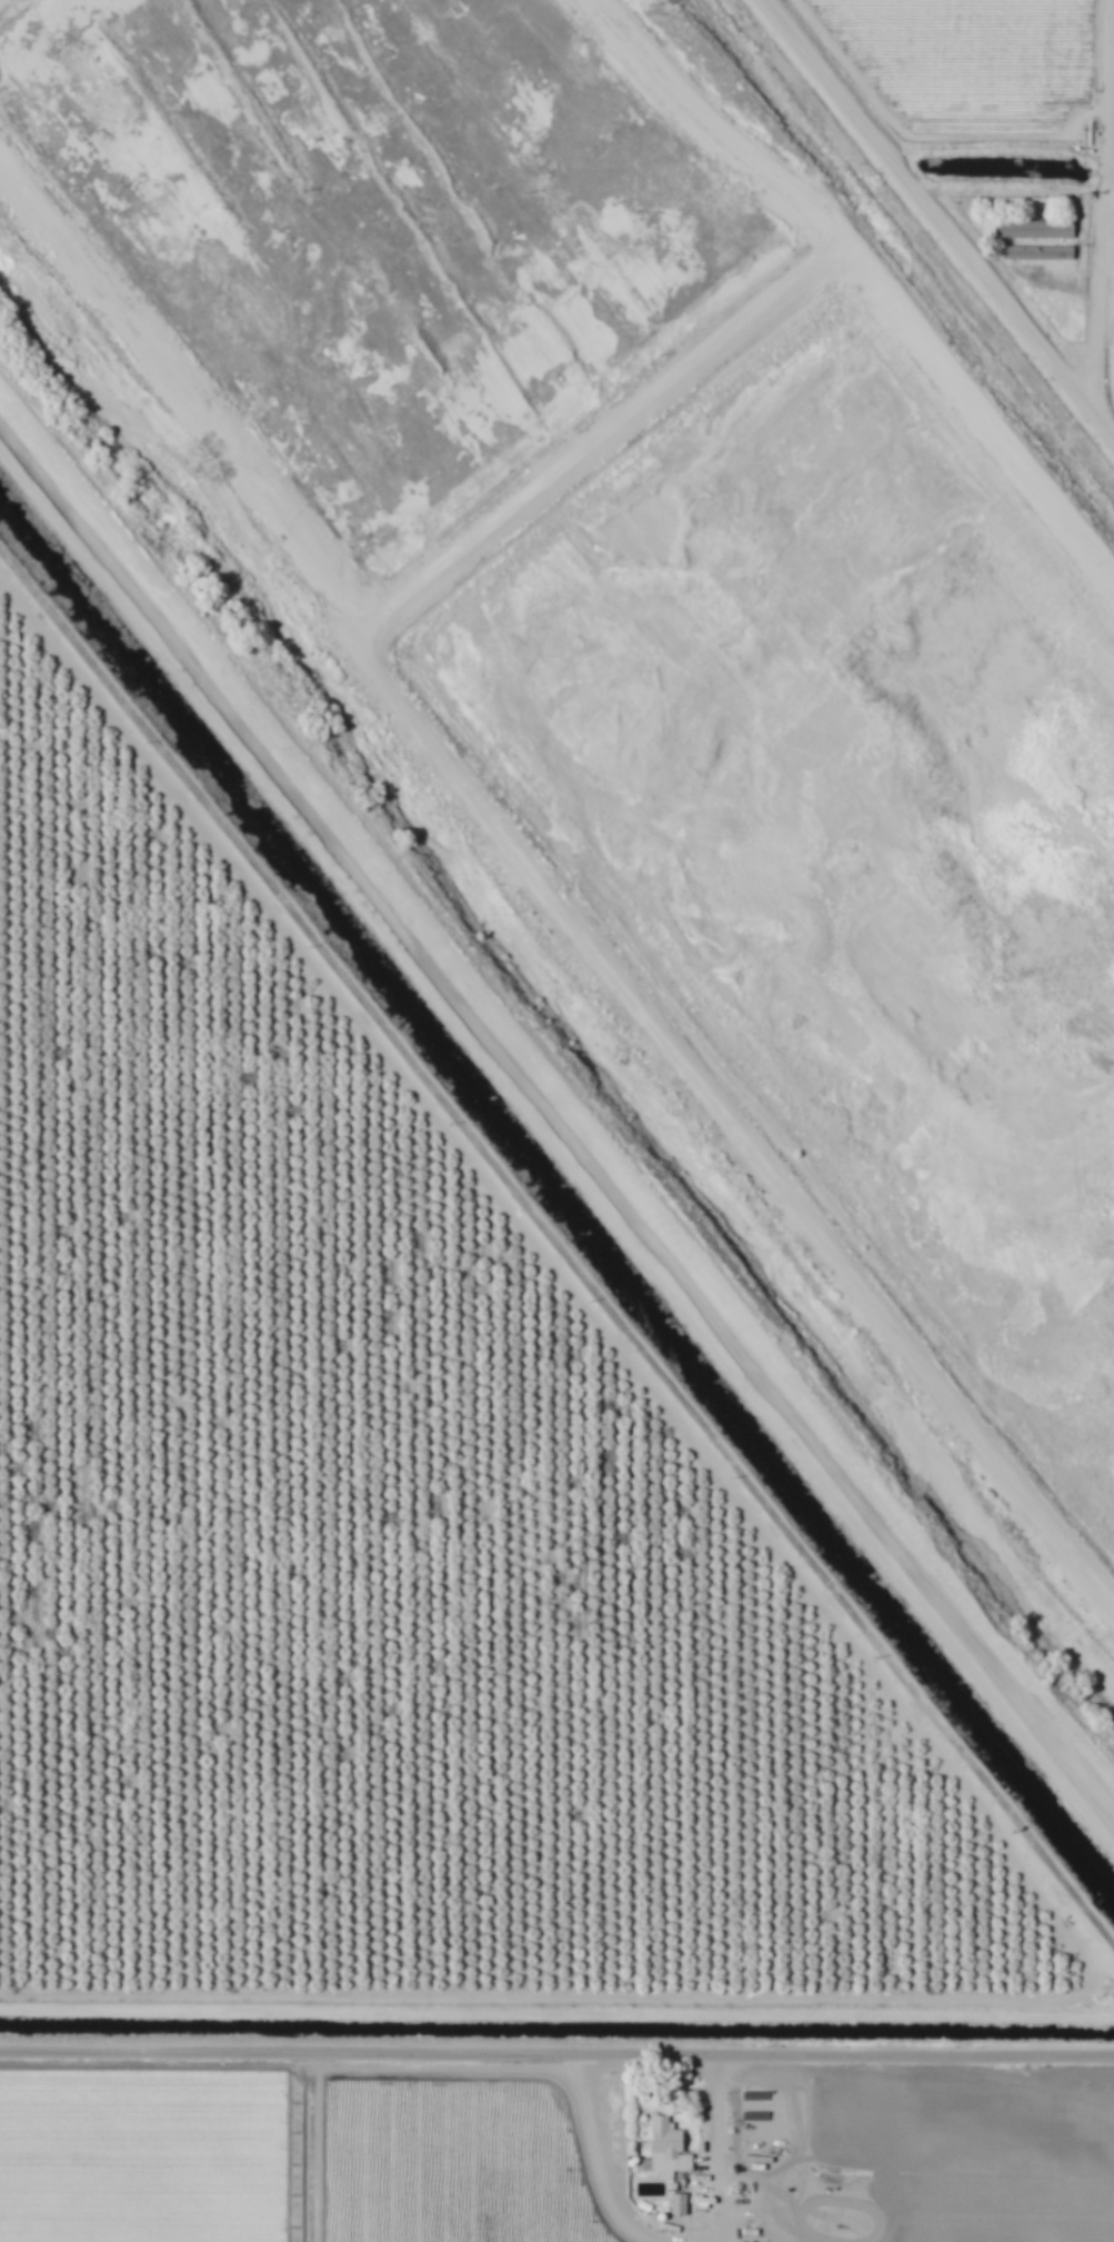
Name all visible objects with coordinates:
crop: (1007, 133)
road: (1108, 189)
road: (1103, 202)
road: (923, 203)
building: (1036, 227)
road: (1102, 420)
road: (555, 1109)
road: (556, 1244)
road: (556, 2051)
building: (670, 2146)
road: (715, 2148)
road: (594, 2153)
crop: (31, 2154)
crop: (317, 2159)

